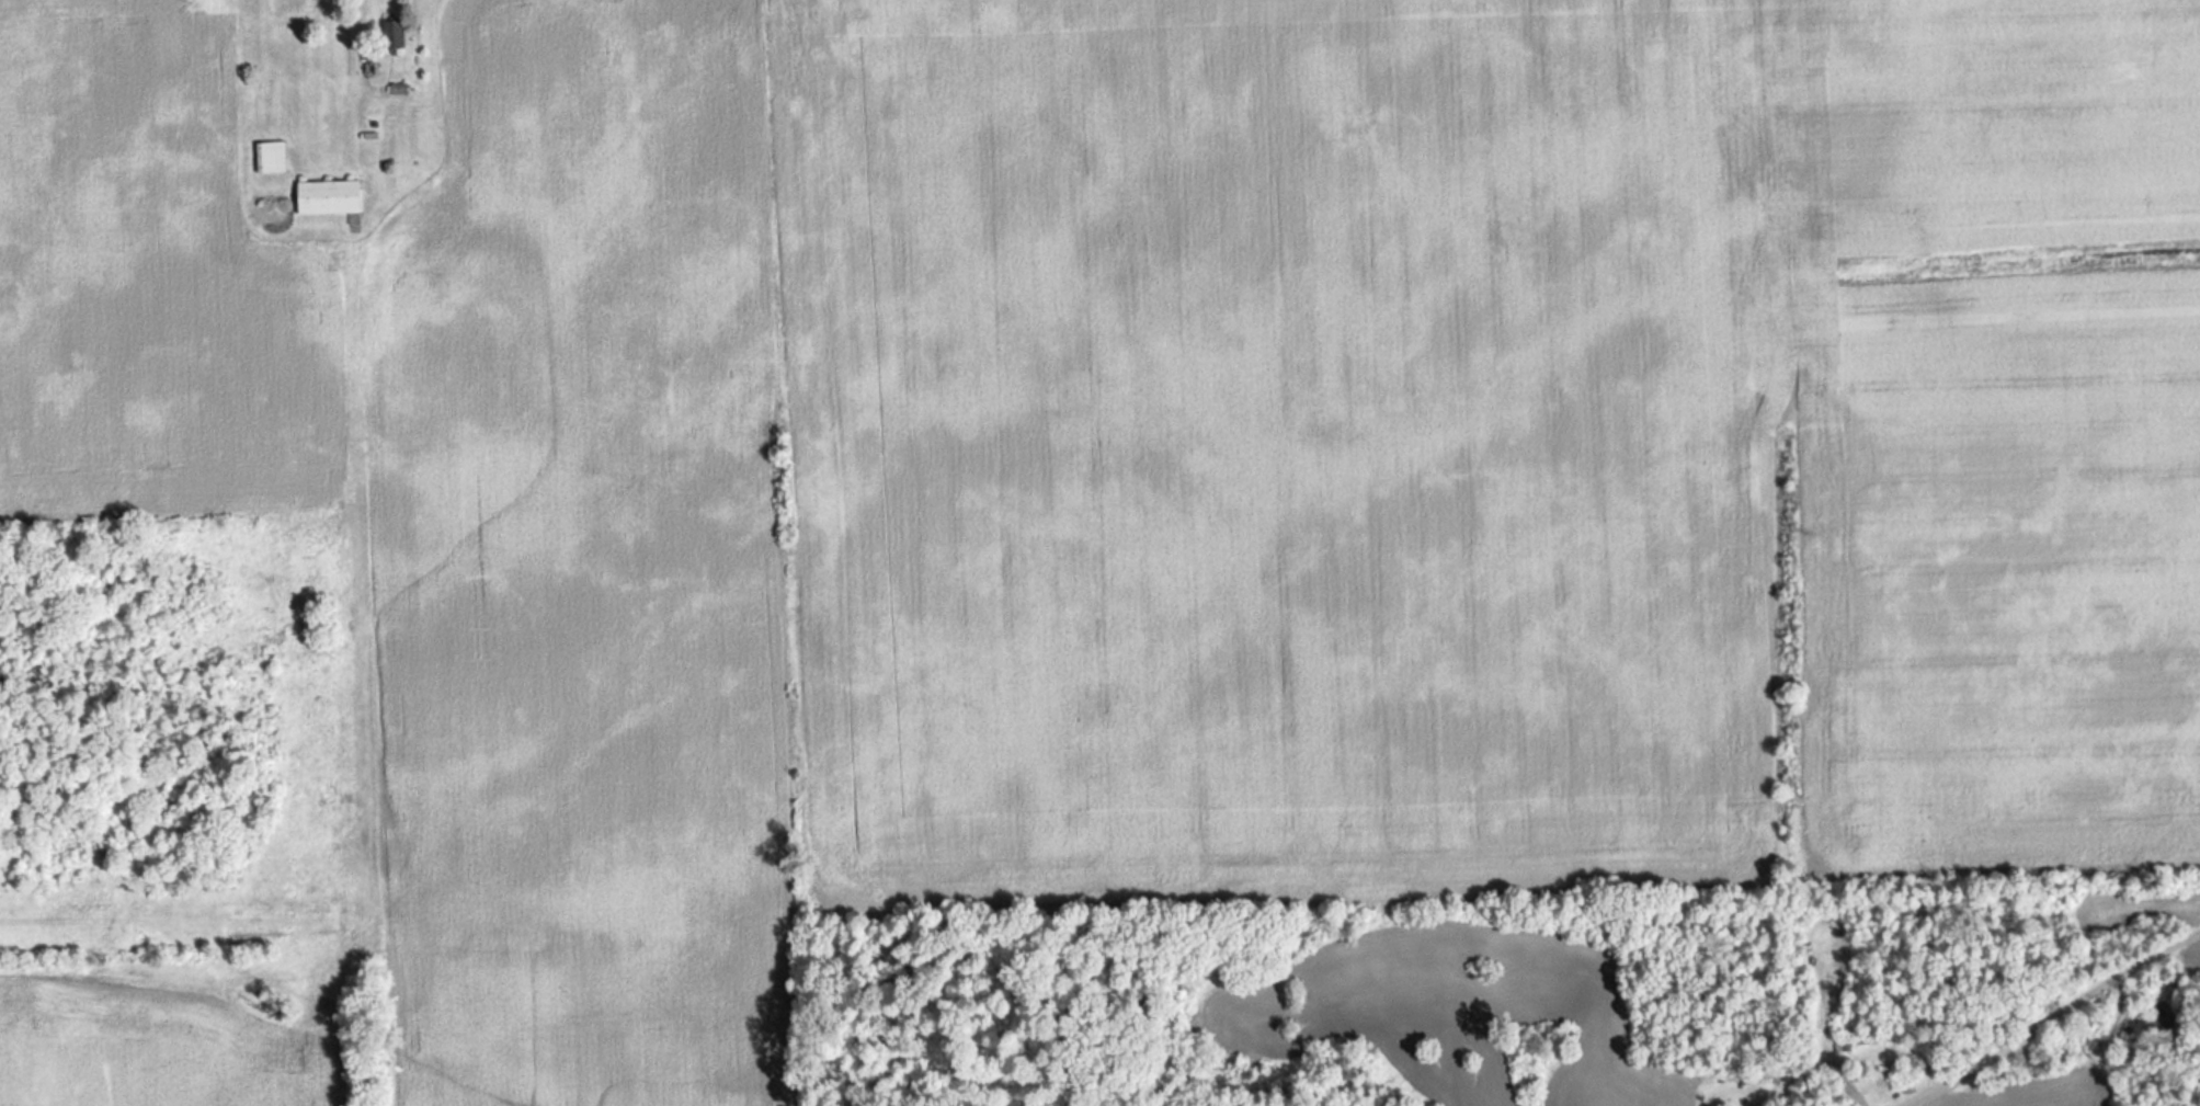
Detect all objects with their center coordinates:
building: (396, 36)
building: (275, 157)
building: (333, 197)
building: (1877, 1037)

